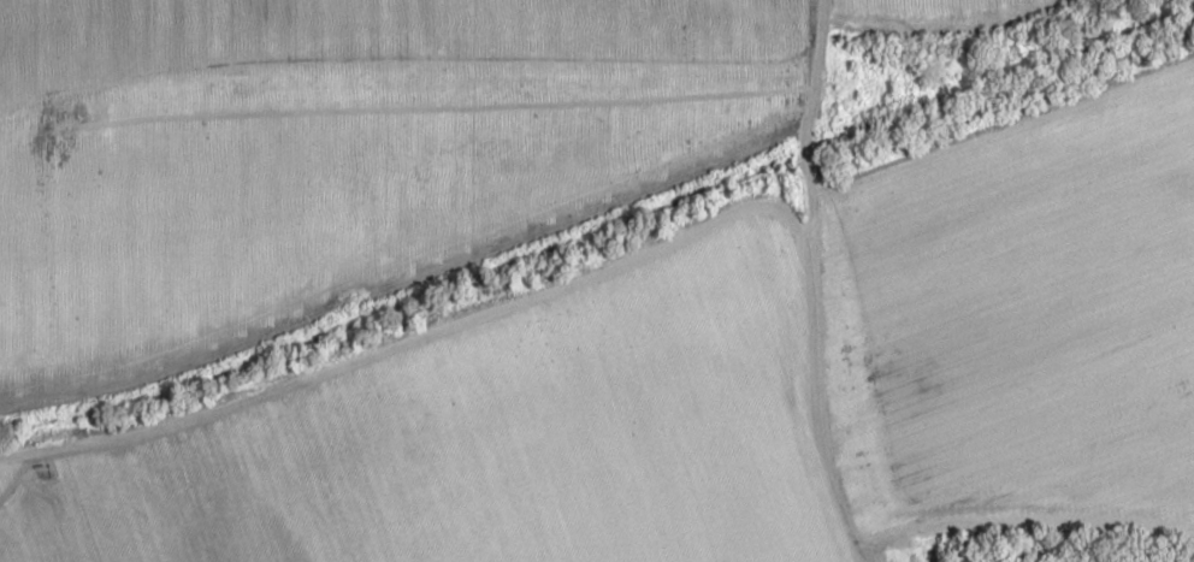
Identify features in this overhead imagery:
road: (812, 282)

